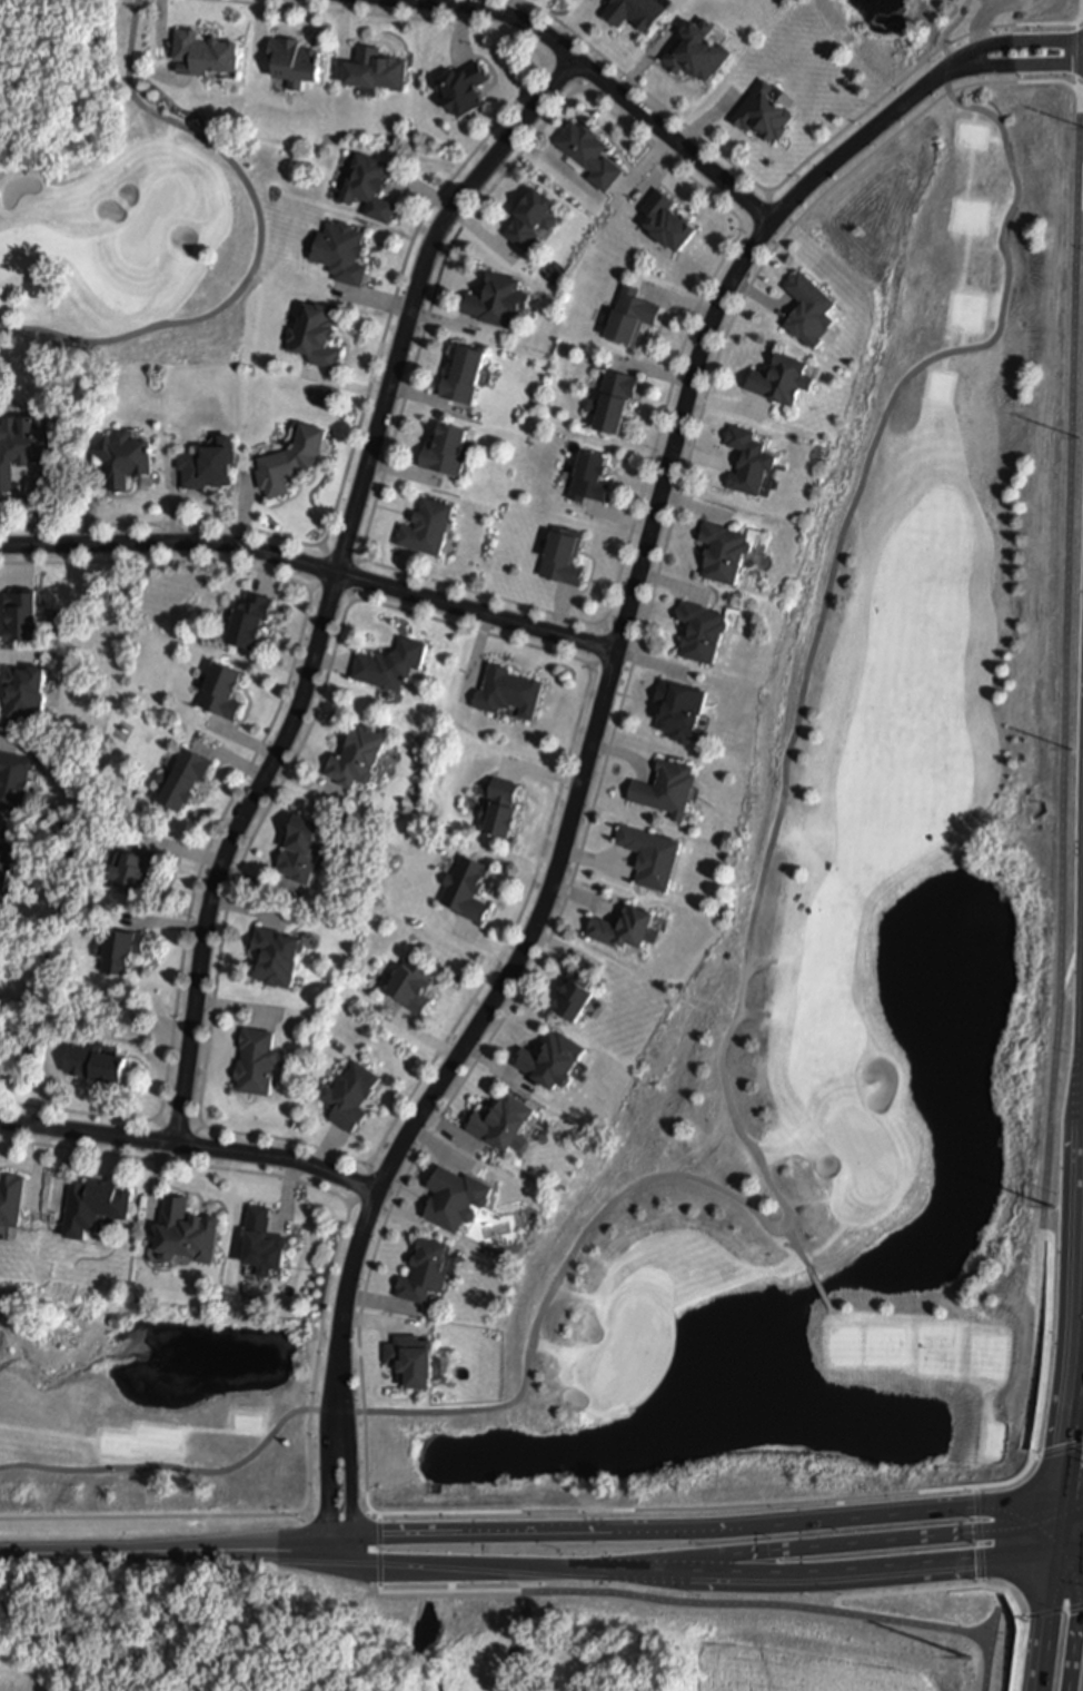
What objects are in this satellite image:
building: (638, 11)
road: (982, 13)
road: (1021, 42)
building: (701, 49)
building: (207, 50)
building: (295, 59)
building: (378, 66)
road: (1023, 66)
building: (464, 85)
road: (603, 87)
building: (765, 111)
building: (592, 151)
building: (370, 184)
building: (534, 215)
building: (670, 218)
park: (150, 220)
park: (125, 238)
road: (258, 241)
building: (341, 249)
building: (495, 298)
building: (813, 307)
building: (632, 314)
building: (317, 334)
building: (466, 373)
building: (786, 377)
building: (614, 398)
building: (21, 437)
building: (448, 447)
building: (125, 457)
building: (294, 459)
building: (752, 459)
building: (211, 463)
building: (589, 476)
building: (430, 525)
building: (726, 550)
building: (564, 556)
road: (312, 570)
road: (332, 585)
building: (24, 613)
building: (251, 616)
building: (705, 630)
building: (394, 663)
building: (223, 689)
building: (27, 690)
building: (509, 690)
building: (682, 708)
road: (597, 715)
road: (1061, 725)
building: (360, 754)
building: (183, 777)
building: (14, 779)
building: (669, 787)
building: (501, 805)
building: (0, 840)
building: (305, 848)
building: (654, 853)
building: (6, 867)
building: (137, 868)
building: (466, 887)
building: (626, 926)
building: (121, 949)
building: (279, 955)
park: (755, 979)
building: (414, 983)
building: (574, 992)
road: (724, 1039)
building: (257, 1059)
building: (550, 1060)
building: (96, 1061)
building: (350, 1095)
road: (436, 1120)
building: (501, 1124)
road: (189, 1145)
park: (863, 1151)
building: (456, 1197)
building: (11, 1201)
building: (96, 1204)
building: (191, 1233)
building: (259, 1244)
road: (794, 1247)
building: (428, 1269)
road: (816, 1288)
park: (632, 1353)
building: (416, 1358)
road: (1075, 1362)
road: (1057, 1452)
road: (327, 1489)
road: (349, 1489)
road: (1071, 1494)
traffic signals: (1060, 1496)
traffic signals: (1056, 1523)
road: (1055, 1525)
road: (705, 1531)
road: (978, 1537)
road: (841, 1544)
road: (175, 1547)
road: (379, 1553)
road: (1069, 1553)
traffic signals: (1076, 1553)
traffic signals: (1054, 1555)
road: (1064, 1568)
road: (699, 1574)
road: (1077, 1576)
road: (521, 1580)
road: (965, 1589)
road: (454, 1592)
road: (758, 1605)
road: (1050, 1612)
road: (1044, 1622)
road: (987, 1643)
park: (421, 1652)
power tower: (966, 1657)

